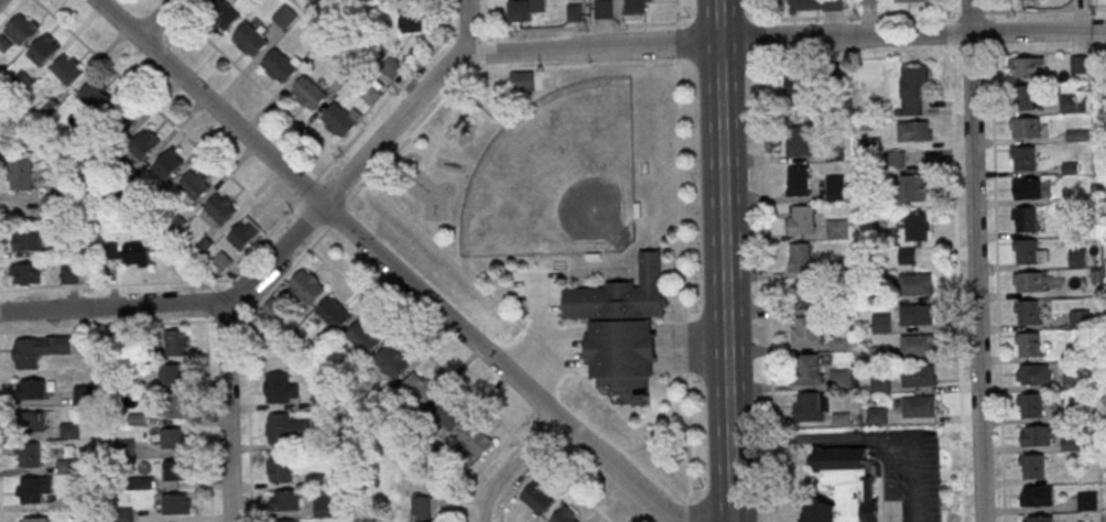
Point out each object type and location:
building: (869, 0)
building: (910, 0)
building: (814, 4)
building: (633, 6)
building: (601, 8)
building: (523, 9)
road: (760, 12)
building: (220, 13)
road: (674, 13)
road: (933, 13)
building: (284, 17)
road: (155, 19)
building: (413, 19)
road: (466, 28)
building: (21, 29)
road: (544, 30)
building: (248, 40)
road: (761, 40)
road: (676, 43)
building: (43, 50)
road: (499, 53)
building: (280, 64)
building: (1077, 64)
building: (392, 67)
building: (1024, 67)
building: (66, 68)
road: (530, 68)
road: (249, 79)
building: (522, 85)
building: (912, 89)
building: (796, 90)
building: (307, 93)
building: (371, 95)
building: (94, 96)
building: (1026, 97)
building: (1072, 104)
building: (121, 119)
building: (340, 120)
building: (1023, 128)
building: (913, 131)
building: (800, 141)
building: (143, 143)
building: (1023, 159)
building: (894, 160)
building: (167, 163)
building: (20, 174)
park: (556, 180)
building: (798, 181)
building: (194, 184)
road: (366, 185)
building: (835, 188)
building: (912, 188)
building: (1029, 189)
building: (53, 205)
building: (217, 209)
building: (1024, 219)
building: (801, 220)
park: (566, 224)
building: (917, 226)
building: (836, 228)
building: (243, 233)
building: (26, 240)
building: (113, 249)
building: (1028, 252)
building: (135, 253)
building: (906, 255)
building: (800, 258)
building: (1077, 258)
road: (724, 261)
road: (974, 261)
building: (220, 262)
road: (996, 267)
building: (24, 273)
building: (69, 273)
road: (404, 280)
building: (1029, 282)
road: (152, 284)
building: (914, 284)
building: (305, 286)
road: (768, 289)
road: (683, 290)
parking lot: (538, 292)
building: (805, 294)
building: (272, 311)
building: (333, 313)
building: (1028, 313)
building: (915, 315)
building: (1080, 318)
building: (622, 331)
building: (805, 331)
building: (364, 336)
building: (176, 342)
building: (1028, 345)
building: (918, 346)
building: (37, 349)
building: (391, 362)
building: (810, 369)
building: (173, 374)
building: (1033, 374)
building: (919, 376)
building: (880, 384)
building: (30, 389)
building: (279, 389)
building: (419, 389)
building: (176, 405)
building: (1030, 405)
building: (811, 406)
building: (919, 406)
road: (226, 411)
building: (446, 414)
building: (877, 415)
building: (32, 421)
building: (285, 428)
building: (1039, 435)
building: (174, 437)
road: (817, 438)
building: (475, 439)
building: (1071, 444)
building: (28, 455)
road: (512, 466)
building: (279, 467)
building: (1031, 467)
building: (175, 470)
road: (915, 476)
building: (844, 487)
building: (32, 489)
building: (1037, 496)
building: (536, 498)
building: (283, 500)
building: (1087, 500)
building: (175, 503)
building: (322, 503)
building: (419, 505)
building: (566, 515)
building: (1038, 519)
building: (33, 520)
building: (284, 521)
building: (427, 521)

